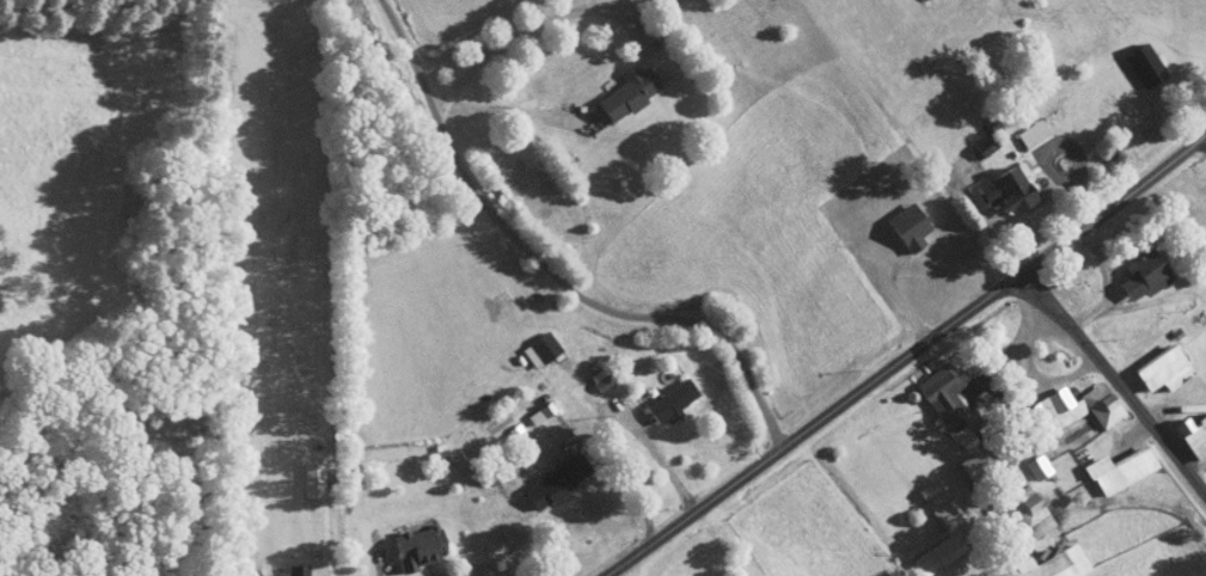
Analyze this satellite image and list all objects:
road: (537, 25)
building: (1141, 65)
building: (626, 92)
road: (509, 110)
building: (1030, 134)
road: (1075, 147)
building: (1002, 189)
road: (557, 265)
building: (1140, 275)
road: (1109, 282)
building: (541, 347)
road: (907, 355)
building: (1159, 368)
road: (1064, 378)
building: (600, 379)
road: (1115, 380)
road: (1026, 385)
building: (669, 399)
building: (948, 404)
building: (1072, 406)
building: (537, 413)
building: (1192, 436)
building: (968, 465)
road: (665, 466)
building: (1036, 466)
road: (637, 470)
building: (1118, 470)
building: (311, 479)
building: (553, 480)
building: (942, 514)
building: (1024, 515)
building: (416, 546)
road: (677, 556)
building: (1059, 564)
building: (292, 570)

